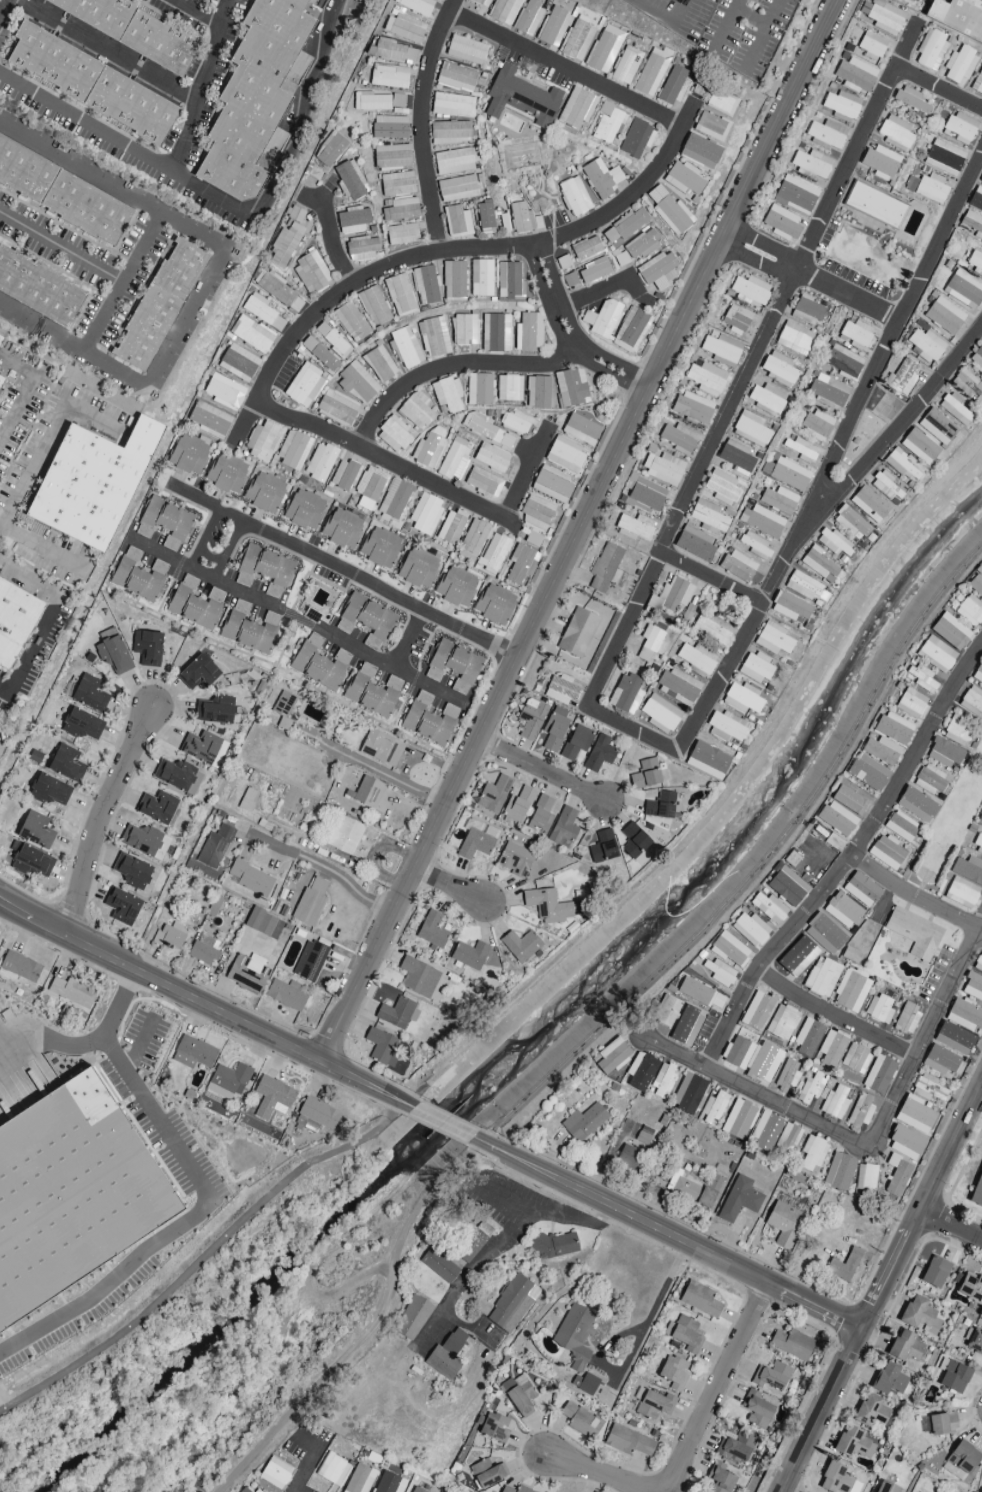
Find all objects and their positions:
building: (480, 2)
building: (975, 3)
road: (678, 5)
building: (416, 6)
road: (5, 9)
building: (504, 11)
road: (196, 12)
road: (750, 16)
building: (883, 16)
building: (528, 18)
building: (964, 19)
road: (725, 25)
building: (553, 27)
parking lot: (726, 27)
building: (403, 28)
building: (131, 29)
road: (762, 35)
building: (577, 41)
building: (871, 46)
building: (604, 49)
building: (466, 50)
building: (930, 50)
road: (105, 51)
building: (394, 52)
building: (625, 66)
building: (959, 66)
road: (568, 72)
building: (651, 72)
building: (855, 75)
building: (388, 76)
building: (456, 78)
building: (91, 84)
building: (978, 84)
road: (200, 85)
building: (673, 86)
road: (939, 91)
building: (253, 97)
building: (521, 99)
building: (714, 99)
building: (910, 99)
building: (370, 102)
building: (452, 105)
building: (842, 106)
building: (576, 108)
road: (422, 123)
building: (607, 123)
building: (389, 127)
building: (710, 127)
building: (959, 128)
building: (450, 133)
building: (895, 133)
building: (827, 134)
building: (636, 139)
building: (330, 150)
building: (699, 151)
building: (391, 157)
building: (944, 158)
building: (455, 161)
building: (880, 163)
building: (812, 164)
building: (601, 178)
building: (683, 179)
building: (350, 180)
building: (981, 183)
building: (396, 184)
building: (458, 188)
building: (931, 188)
building: (62, 193)
building: (796, 195)
building: (574, 196)
building: (976, 199)
road: (227, 201)
building: (874, 205)
building: (401, 210)
building: (669, 211)
building: (523, 218)
building: (485, 219)
building: (457, 222)
building: (782, 223)
building: (971, 225)
building: (625, 226)
building: (401, 234)
building: (641, 245)
building: (284, 246)
road: (334, 247)
road: (143, 249)
building: (361, 249)
building: (586, 249)
building: (975, 262)
building: (593, 271)
building: (658, 271)
building: (310, 273)
building: (481, 278)
building: (453, 279)
road: (810, 279)
building: (509, 281)
building: (570, 282)
building: (425, 285)
building: (39, 287)
building: (964, 289)
building: (278, 291)
building: (750, 291)
road: (342, 293)
building: (399, 296)
road: (577, 301)
building: (158, 306)
building: (373, 306)
building: (262, 312)
building: (944, 316)
building: (602, 319)
building: (736, 320)
building: (351, 322)
road: (42, 327)
building: (464, 330)
building: (630, 330)
building: (528, 332)
building: (496, 333)
building: (251, 334)
building: (856, 334)
road: (570, 335)
building: (0, 337)
road: (177, 337)
building: (434, 337)
building: (793, 339)
building: (332, 340)
building: (925, 345)
building: (405, 348)
building: (722, 350)
building: (320, 354)
building: (977, 357)
building: (844, 362)
building: (238, 363)
building: (379, 364)
road: (456, 369)
building: (779, 369)
building: (901, 377)
building: (0, 379)
building: (707, 379)
building: (357, 384)
building: (966, 384)
building: (304, 386)
building: (570, 387)
building: (508, 388)
building: (479, 389)
building: (828, 391)
building: (224, 392)
building: (537, 392)
building: (447, 395)
building: (766, 399)
building: (336, 408)
building: (693, 408)
building: (954, 409)
road: (16, 411)
building: (416, 411)
building: (209, 420)
road: (245, 422)
building: (517, 423)
building: (817, 425)
building: (582, 427)
building: (937, 427)
building: (750, 429)
building: (487, 431)
building: (394, 436)
road: (894, 436)
road: (48, 438)
building: (679, 439)
building: (262, 442)
building: (919, 447)
building: (429, 448)
building: (293, 450)
building: (801, 450)
building: (188, 454)
building: (565, 456)
building: (735, 457)
building: (491, 458)
building: (454, 459)
building: (320, 462)
building: (902, 467)
building: (663, 468)
building: (227, 473)
road: (529, 474)
building: (787, 474)
building: (344, 475)
building: (91, 483)
building: (483, 483)
building: (552, 485)
building: (886, 487)
building: (369, 488)
building: (722, 488)
building: (264, 492)
building: (645, 495)
road: (15, 497)
building: (394, 499)
building: (778, 500)
building: (869, 504)
building: (304, 510)
building: (425, 514)
building: (536, 514)
building: (708, 517)
building: (761, 521)
building: (164, 523)
building: (851, 523)
building: (451, 527)
building: (342, 528)
building: (634, 528)
road: (209, 530)
road: (580, 531)
building: (473, 540)
building: (833, 543)
building: (694, 544)
building: (755, 545)
road: (39, 546)
building: (380, 547)
road: (229, 548)
building: (493, 554)
road: (211, 558)
road: (196, 559)
building: (520, 565)
building: (820, 565)
building: (737, 566)
building: (418, 568)
building: (605, 568)
building: (264, 570)
road: (344, 571)
building: (138, 576)
road: (714, 578)
building: (976, 585)
building: (456, 587)
building: (807, 588)
building: (670, 595)
building: (195, 604)
building: (494, 604)
building: (789, 607)
building: (969, 611)
road: (48, 618)
road: (300, 619)
building: (366, 620)
building: (15, 621)
building: (249, 628)
building: (712, 628)
building: (577, 633)
building: (773, 639)
road: (412, 643)
building: (650, 643)
building: (147, 647)
building: (936, 654)
building: (113, 655)
building: (696, 659)
building: (319, 663)
building: (454, 666)
building: (755, 668)
building: (198, 672)
building: (978, 674)
building: (921, 679)
building: (678, 686)
building: (560, 690)
building: (372, 691)
building: (89, 694)
building: (625, 694)
building: (742, 699)
building: (972, 702)
building: (910, 703)
building: (284, 705)
road: (593, 708)
building: (216, 711)
building: (660, 714)
building: (530, 719)
building: (428, 720)
building: (82, 725)
building: (726, 727)
building: (554, 728)
building: (892, 729)
building: (958, 731)
building: (576, 742)
building: (202, 748)
building: (383, 749)
building: (880, 751)
building: (944, 753)
building: (599, 754)
building: (707, 761)
building: (65, 763)
road: (372, 766)
road: (540, 769)
building: (868, 773)
building: (176, 775)
building: (645, 775)
building: (931, 780)
building: (50, 791)
building: (367, 792)
building: (493, 795)
building: (852, 798)
building: (247, 800)
building: (518, 805)
building: (917, 805)
building: (660, 806)
building: (158, 808)
building: (540, 815)
road: (97, 817)
building: (836, 819)
building: (979, 820)
building: (563, 827)
building: (900, 827)
building: (35, 830)
building: (343, 834)
building: (476, 839)
building: (142, 841)
building: (977, 842)
building: (635, 844)
building: (214, 847)
building: (603, 847)
building: (887, 852)
building: (514, 860)
building: (32, 862)
road: (847, 862)
road: (759, 866)
road: (328, 869)
building: (968, 870)
building: (132, 871)
building: (251, 879)
road: (448, 885)
building: (787, 887)
building: (861, 890)
building: (961, 893)
road: (915, 897)
building: (310, 903)
building: (122, 906)
building: (550, 906)
building: (768, 908)
building: (842, 910)
building: (213, 917)
building: (263, 924)
building: (431, 930)
building: (750, 930)
building: (914, 933)
building: (824, 934)
building: (170, 936)
building: (520, 945)
building: (202, 950)
building: (729, 950)
building: (469, 955)
building: (797, 956)
building: (309, 961)
building: (978, 963)
building: (20, 968)
building: (718, 972)
building: (248, 975)
building: (418, 977)
building: (821, 978)
building: (973, 987)
building: (851, 990)
building: (72, 992)
building: (700, 994)
building: (286, 995)
road: (202, 1004)
building: (879, 1009)
building: (666, 1011)
building: (757, 1011)
building: (397, 1014)
building: (963, 1015)
road: (834, 1017)
building: (907, 1019)
building: (781, 1023)
building: (686, 1026)
road: (926, 1036)
building: (807, 1038)
building: (954, 1039)
road: (84, 1042)
building: (381, 1046)
building: (831, 1048)
building: (193, 1053)
building: (612, 1056)
building: (855, 1058)
building: (752, 1059)
building: (940, 1061)
building: (640, 1071)
building: (787, 1075)
building: (878, 1075)
building: (663, 1080)
building: (228, 1081)
building: (810, 1088)
building: (929, 1088)
building: (688, 1094)
road: (755, 1095)
building: (272, 1098)
building: (834, 1103)
building: (713, 1108)
building: (860, 1112)
building: (317, 1115)
building: (915, 1115)
building: (738, 1119)
road: (441, 1120)
building: (583, 1122)
building: (765, 1131)
building: (644, 1135)
building: (787, 1138)
building: (906, 1144)
building: (812, 1154)
building: (628, 1156)
building: (839, 1171)
building: (795, 1177)
building: (898, 1178)
building: (865, 1179)
building: (690, 1190)
building: (978, 1193)
building: (72, 1196)
building: (739, 1200)
road: (924, 1206)
road: (549, 1214)
road: (181, 1217)
building: (786, 1219)
road: (951, 1228)
road: (668, 1232)
building: (470, 1241)
building: (555, 1245)
road: (203, 1257)
building: (844, 1265)
building: (439, 1266)
road: (472, 1272)
building: (935, 1272)
building: (969, 1287)
building: (699, 1299)
building: (512, 1304)
building: (920, 1316)
building: (412, 1318)
road: (371, 1328)
building: (687, 1334)
building: (574, 1335)
building: (975, 1342)
building: (792, 1344)
road: (634, 1347)
building: (905, 1347)
building: (446, 1355)
building: (673, 1373)
building: (771, 1376)
building: (954, 1377)
building: (889, 1380)
building: (584, 1384)
building: (518, 1395)
building: (653, 1404)
road: (821, 1409)
building: (757, 1410)
building: (871, 1411)
building: (580, 1420)
building: (942, 1424)
building: (494, 1428)
building: (627, 1441)
road: (694, 1441)
building: (852, 1443)
building: (737, 1448)
building: (963, 1458)
building: (333, 1470)
building: (275, 1473)
building: (487, 1473)
building: (360, 1479)
building: (835, 1479)
building: (719, 1480)
building: (389, 1483)
building: (886, 1487)
building: (516, 1489)
building: (244, 1490)
building: (416, 1490)
building: (256, 1491)

